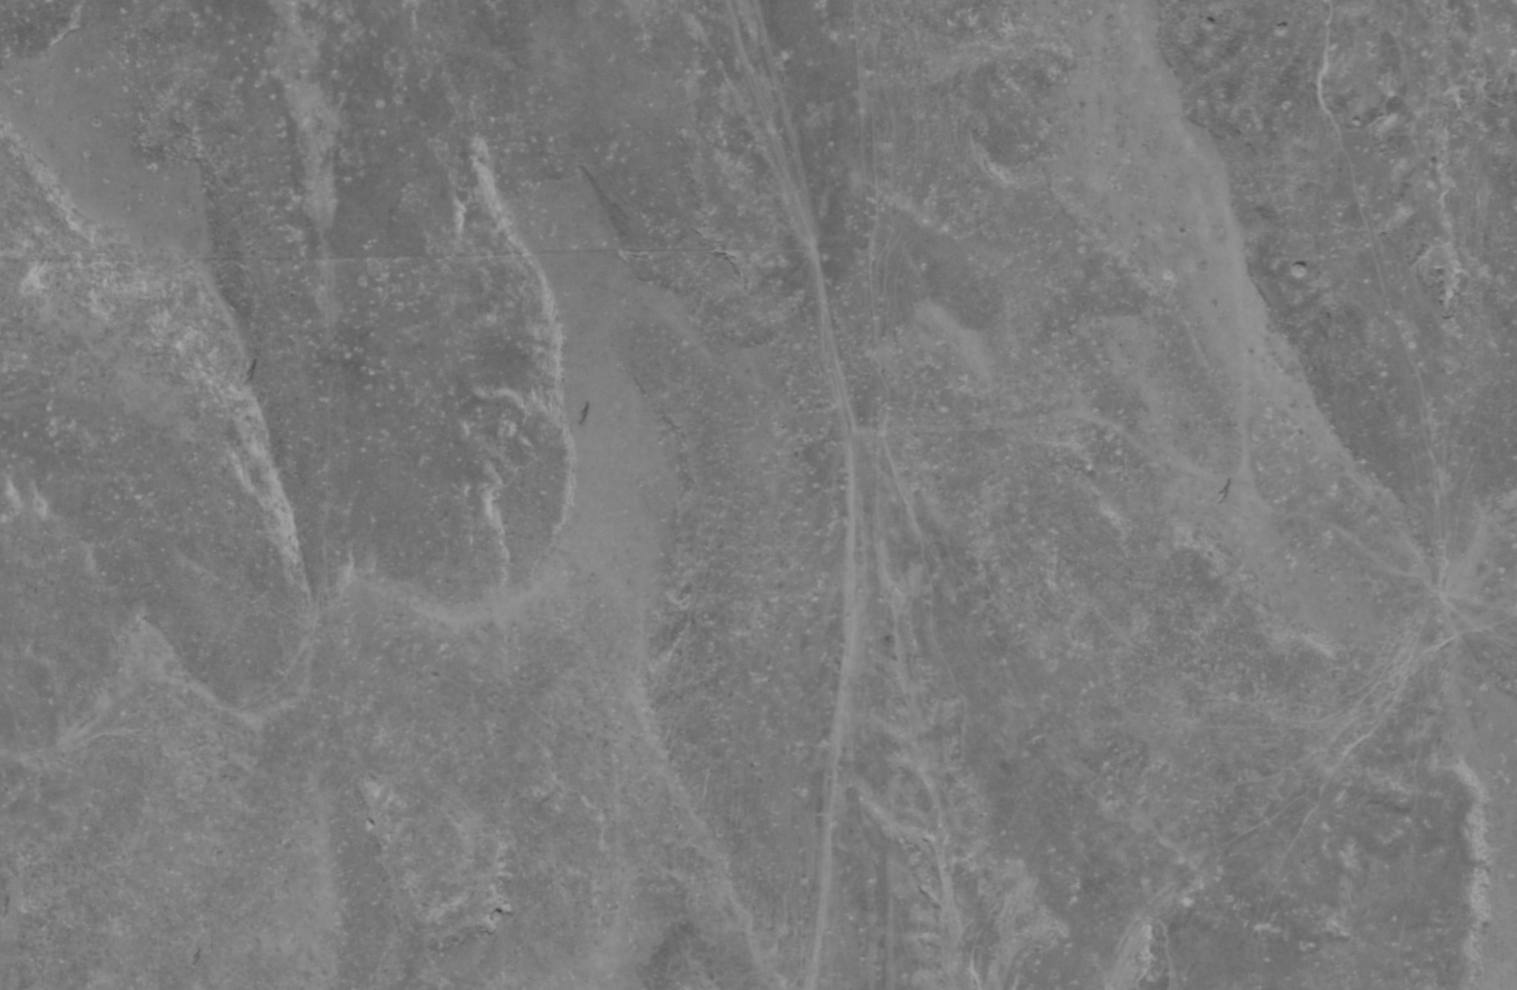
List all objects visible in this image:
power tower: (241, 381)
power tower: (576, 421)
power tower: (1218, 497)

